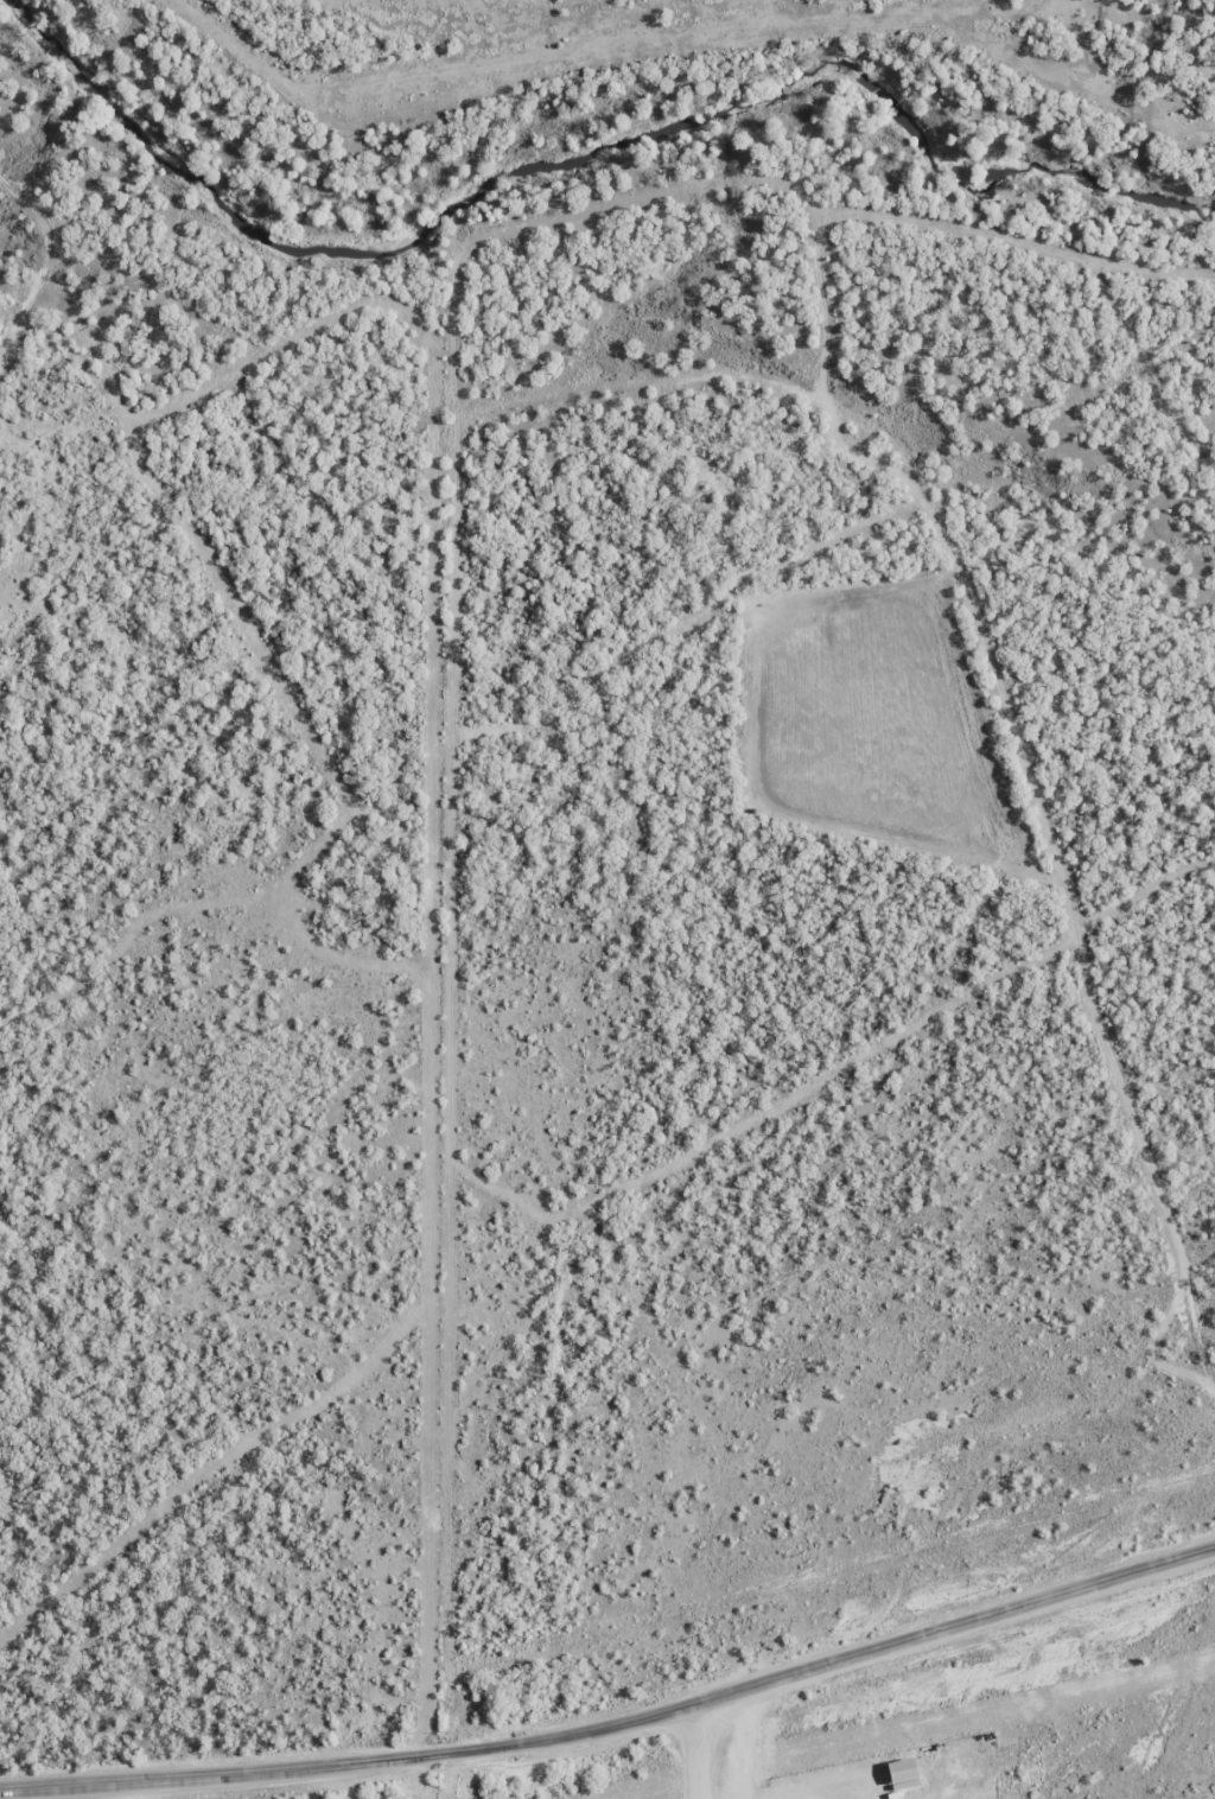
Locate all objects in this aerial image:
river: (583, 159)
road: (617, 1728)
road: (696, 1755)
building: (910, 1774)
road: (121, 1793)

